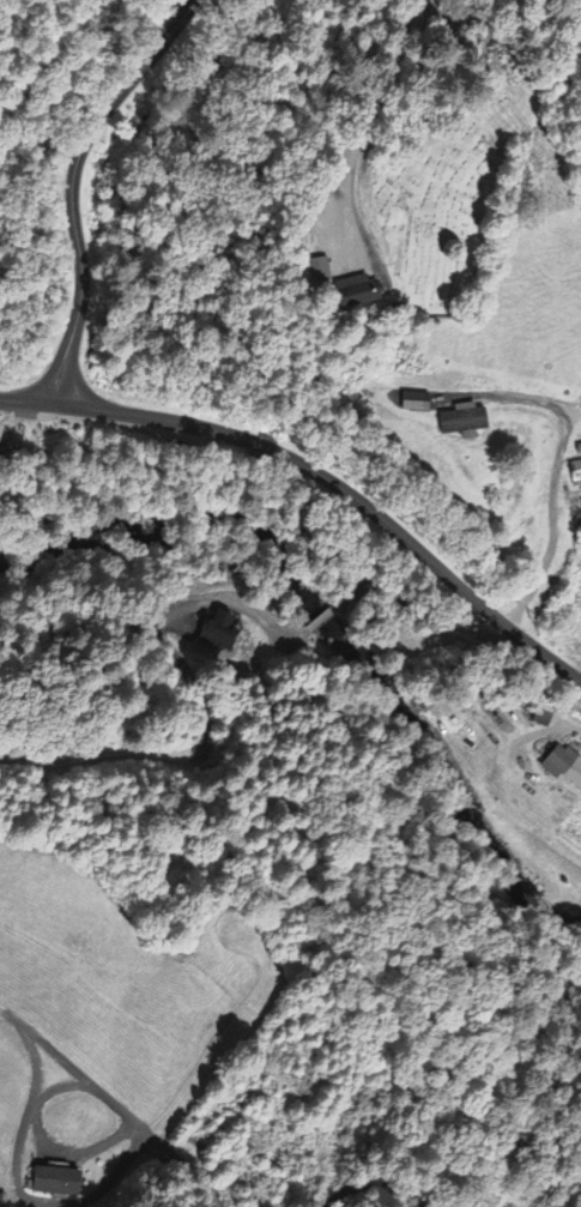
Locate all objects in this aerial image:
road: (368, 123)
road: (77, 182)
building: (322, 273)
building: (358, 295)
road: (30, 402)
building: (419, 405)
building: (466, 423)
building: (576, 472)
road: (346, 490)
building: (224, 635)
building: (565, 766)
road: (193, 1176)
building: (60, 1183)
road: (370, 1185)

